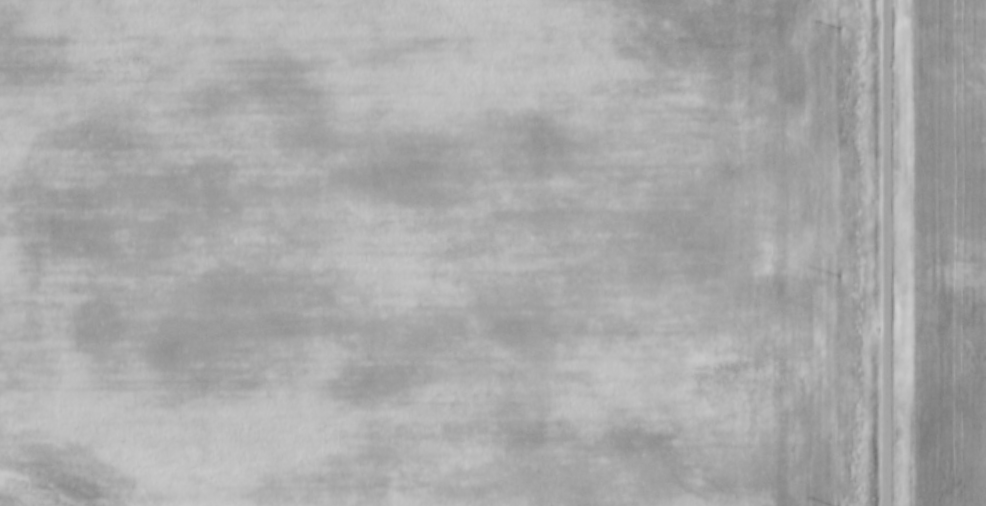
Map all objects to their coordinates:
road: (886, 253)

